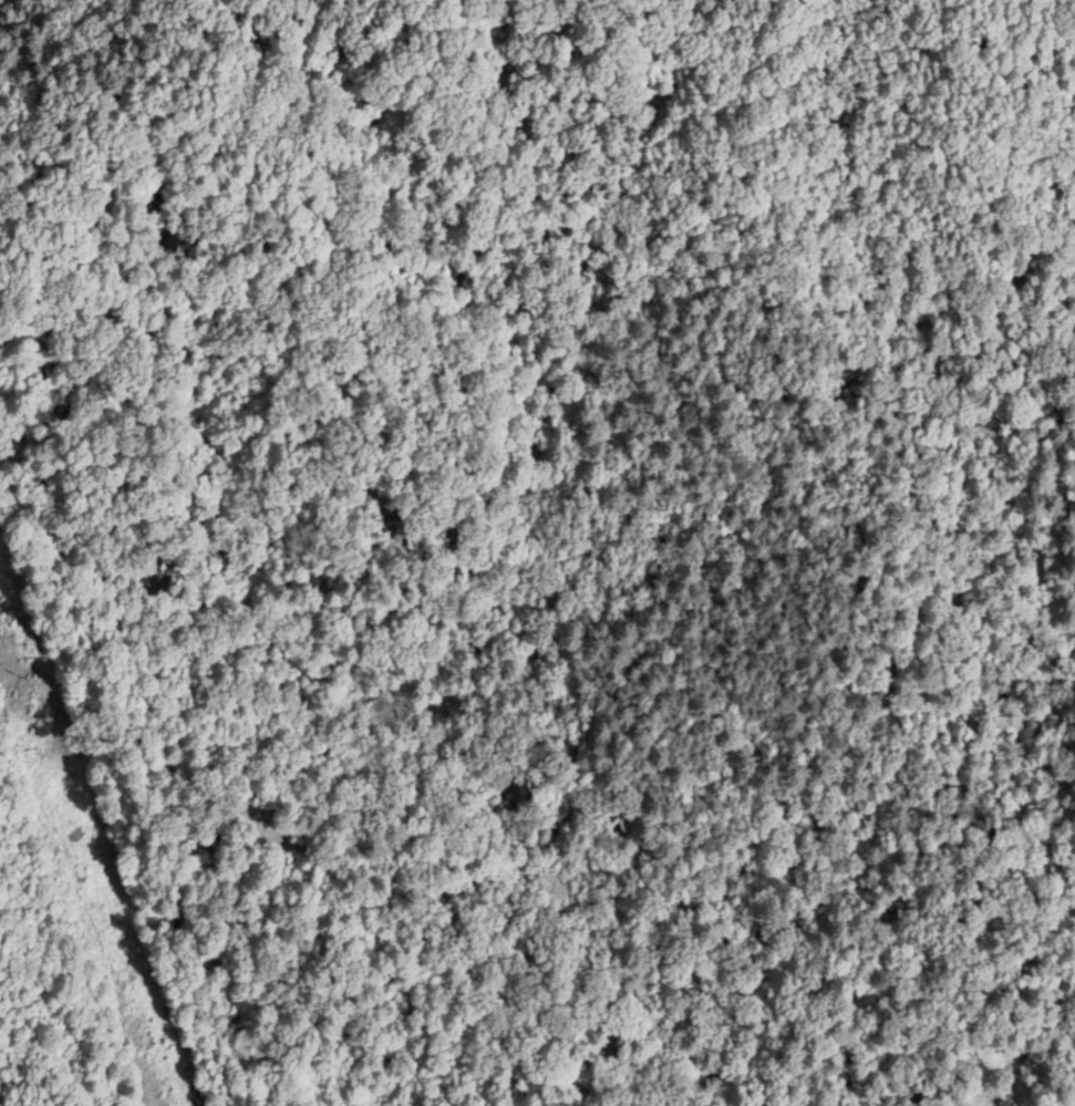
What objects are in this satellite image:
building: (1003, 1103)

